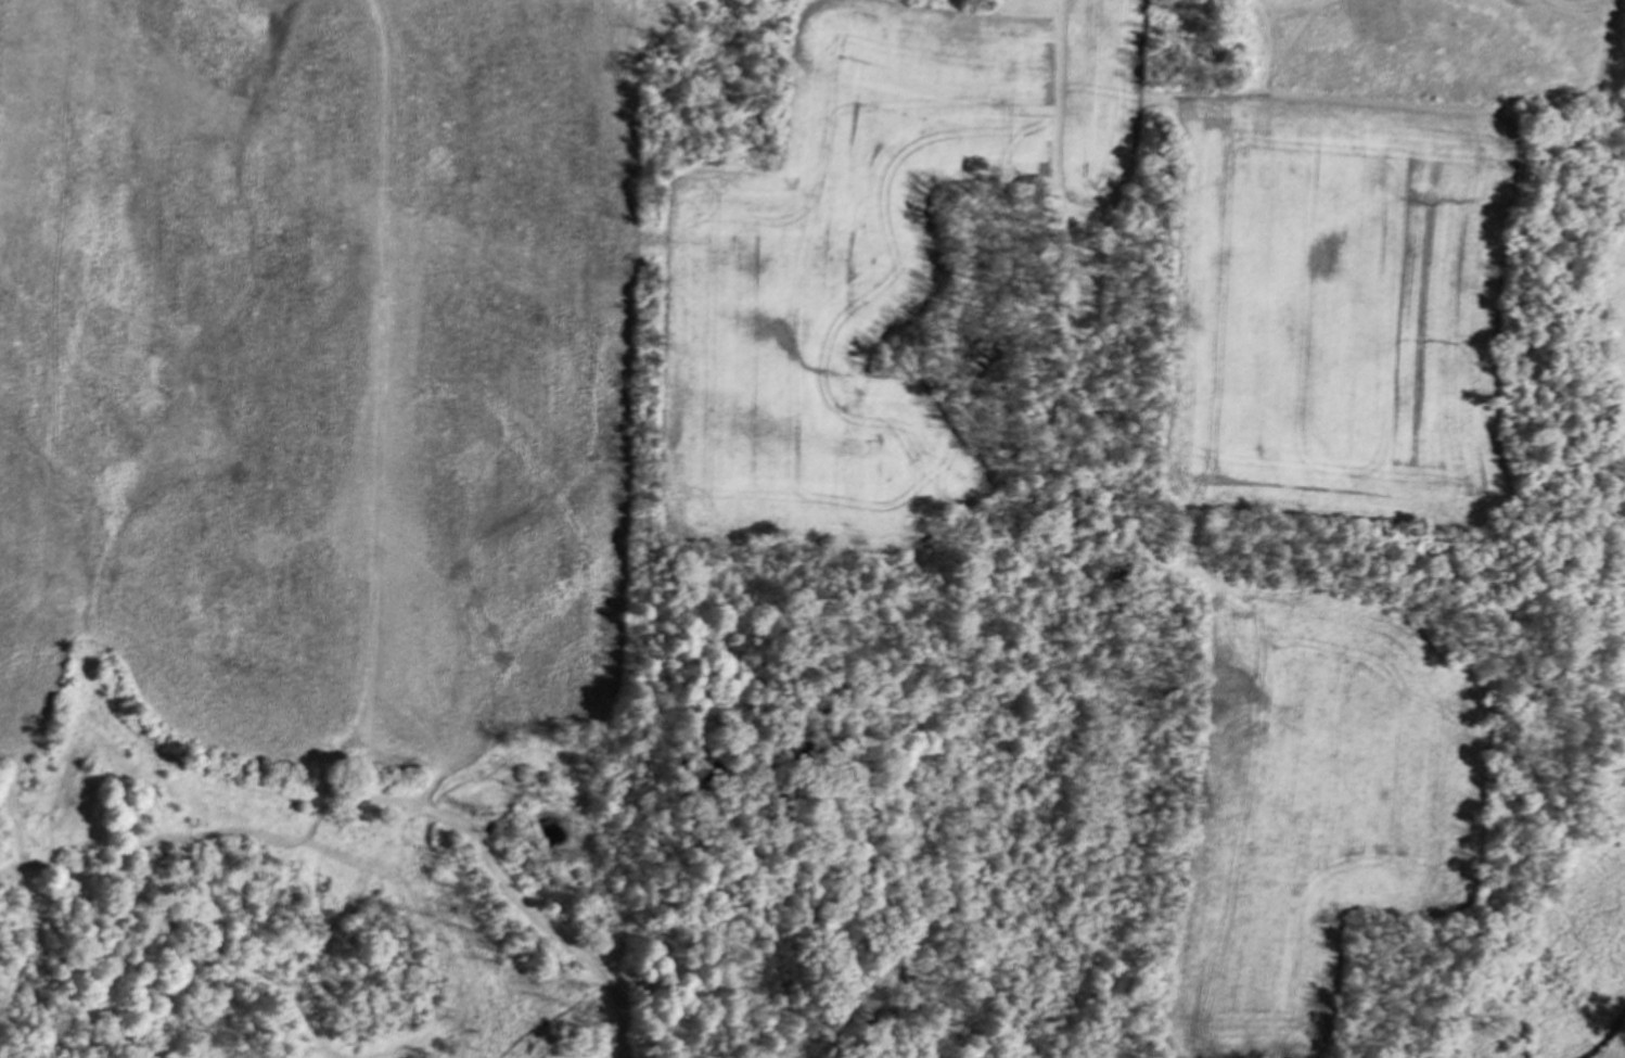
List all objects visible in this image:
crop: (614, 332)
crop: (1319, 808)

